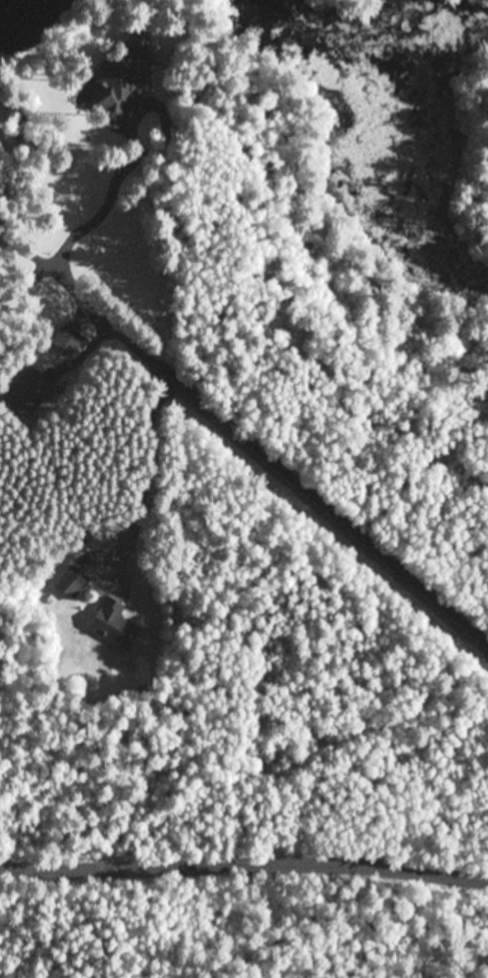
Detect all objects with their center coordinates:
building: (123, 73)
building: (66, 340)
building: (28, 391)
road: (250, 445)
building: (70, 582)
building: (113, 622)
road: (244, 852)

